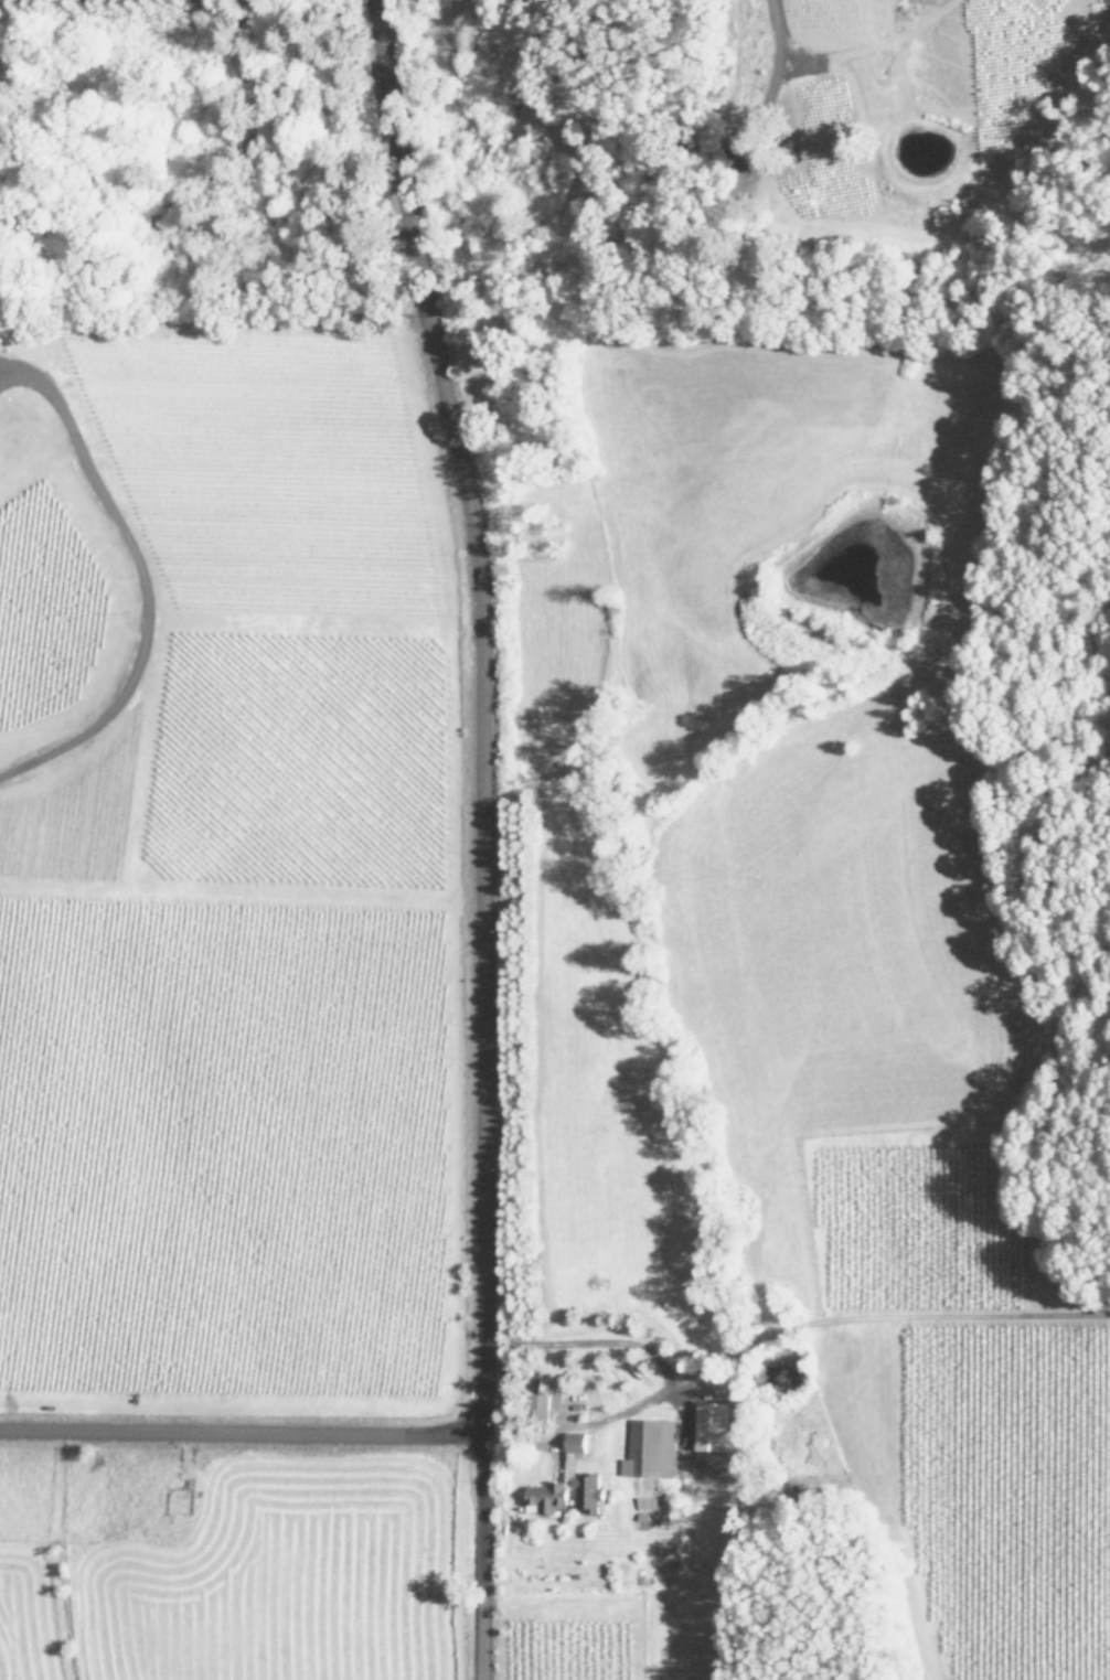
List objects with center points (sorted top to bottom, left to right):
road: (677, 146)
road: (9, 363)
road: (9, 375)
road: (134, 579)
road: (479, 710)
road: (664, 1376)
road: (241, 1430)
building: (578, 1441)
building: (651, 1448)
building: (590, 1490)
building: (547, 1496)
road: (479, 1556)

